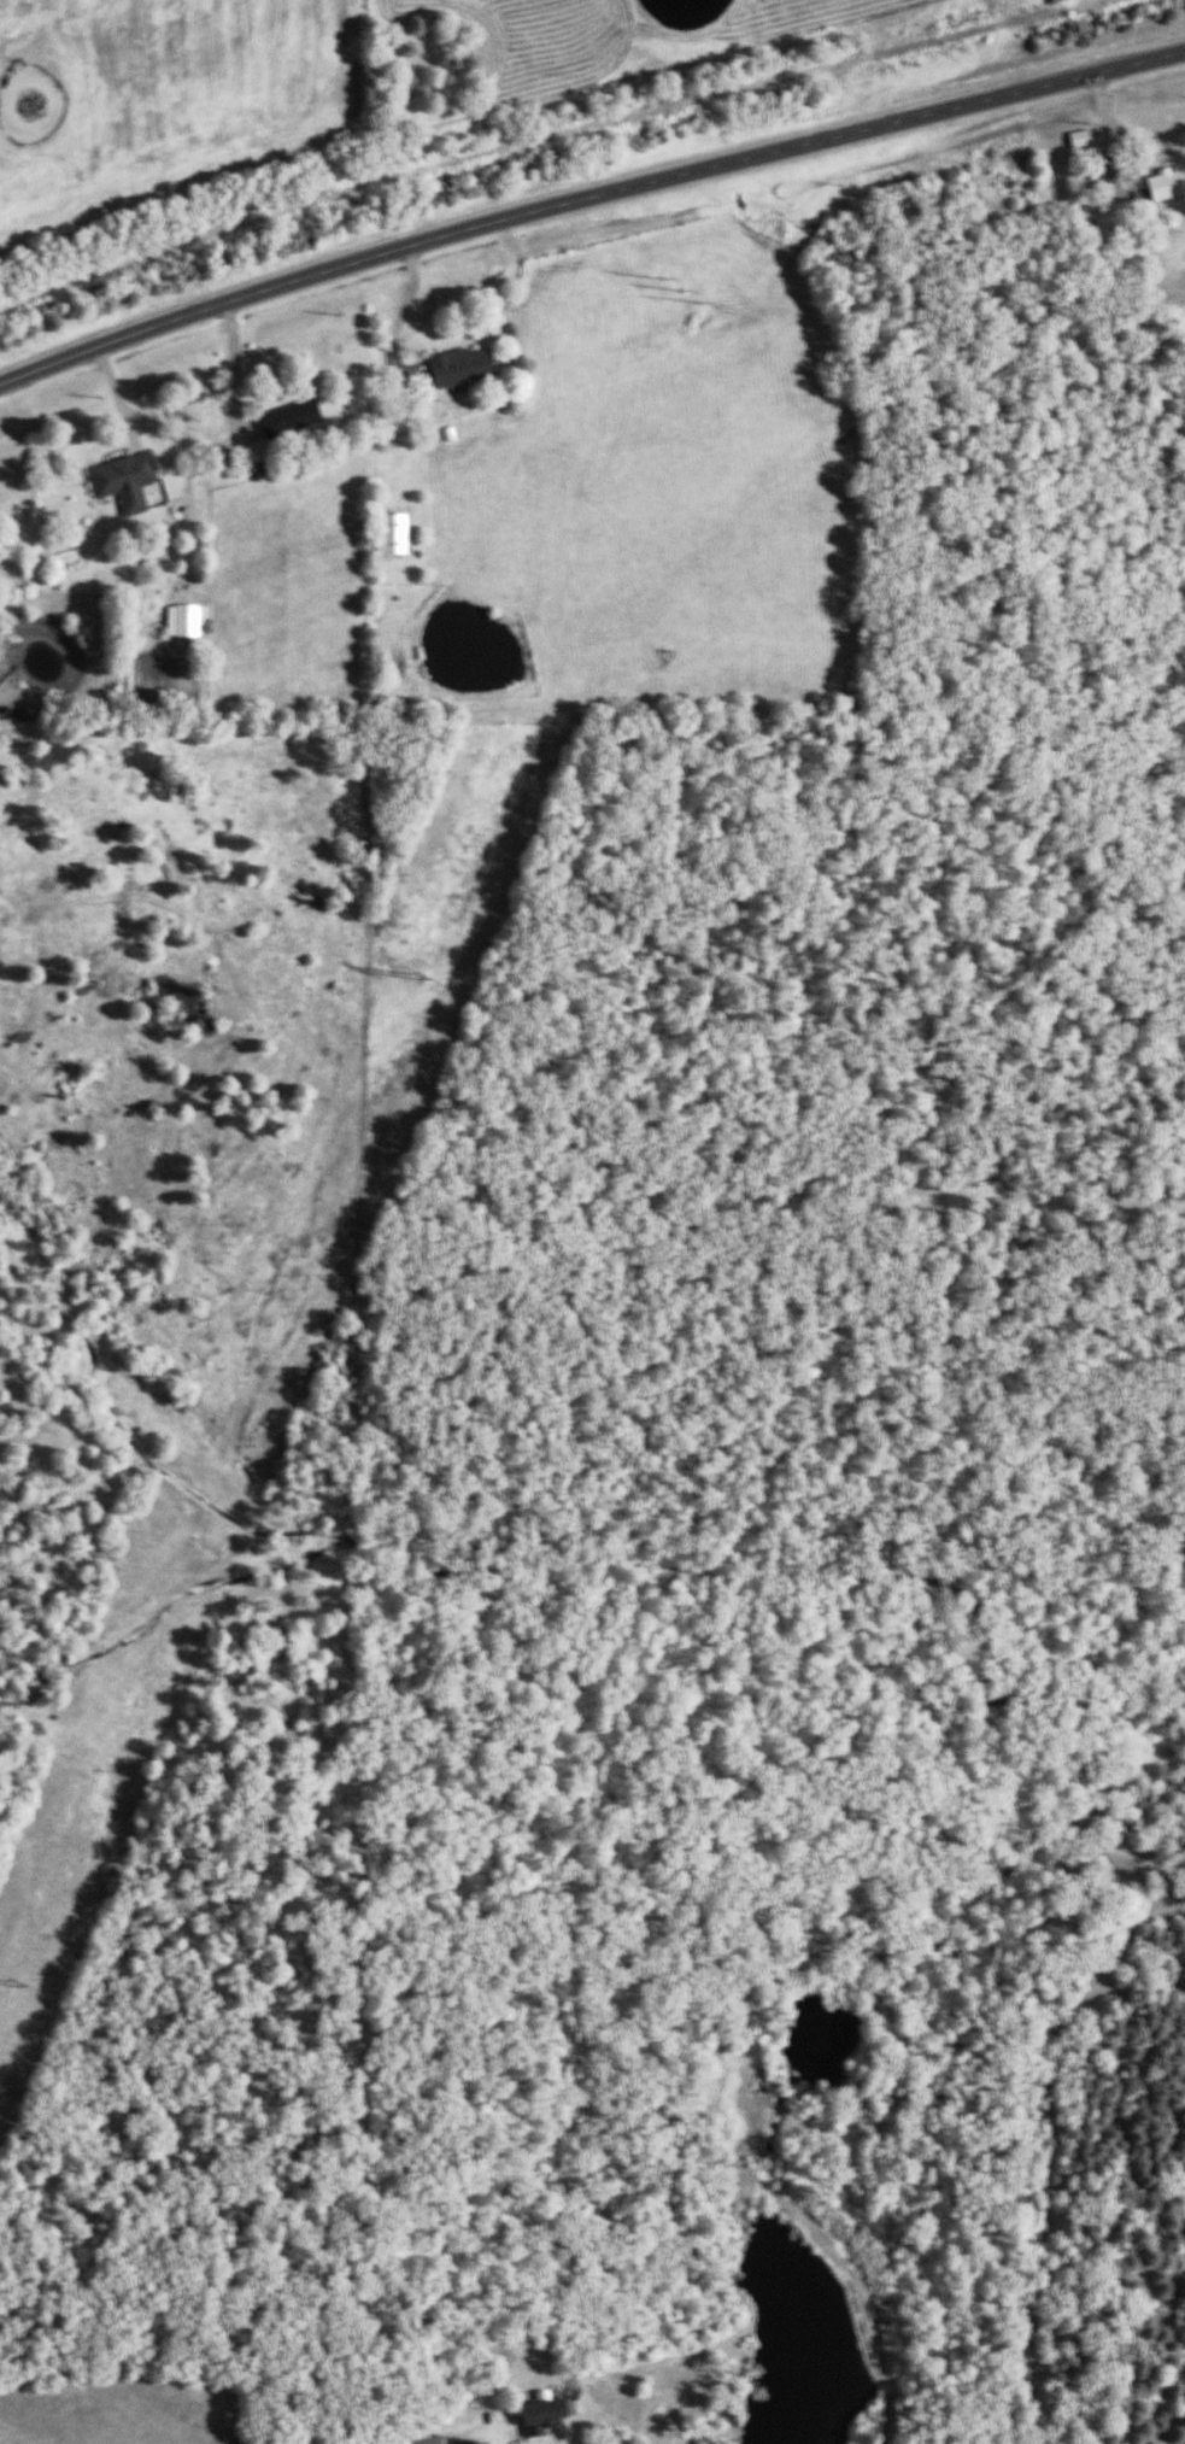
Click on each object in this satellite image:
railway: (553, 137)
building: (1074, 139)
building: (1160, 186)
road: (585, 203)
power tower: (677, 287)
building: (456, 367)
building: (284, 420)
building: (119, 481)
building: (388, 534)
building: (181, 620)
power tower: (410, 973)
power tower: (7, 1985)
building: (538, 2417)
road: (488, 2426)
building: (421, 2442)

